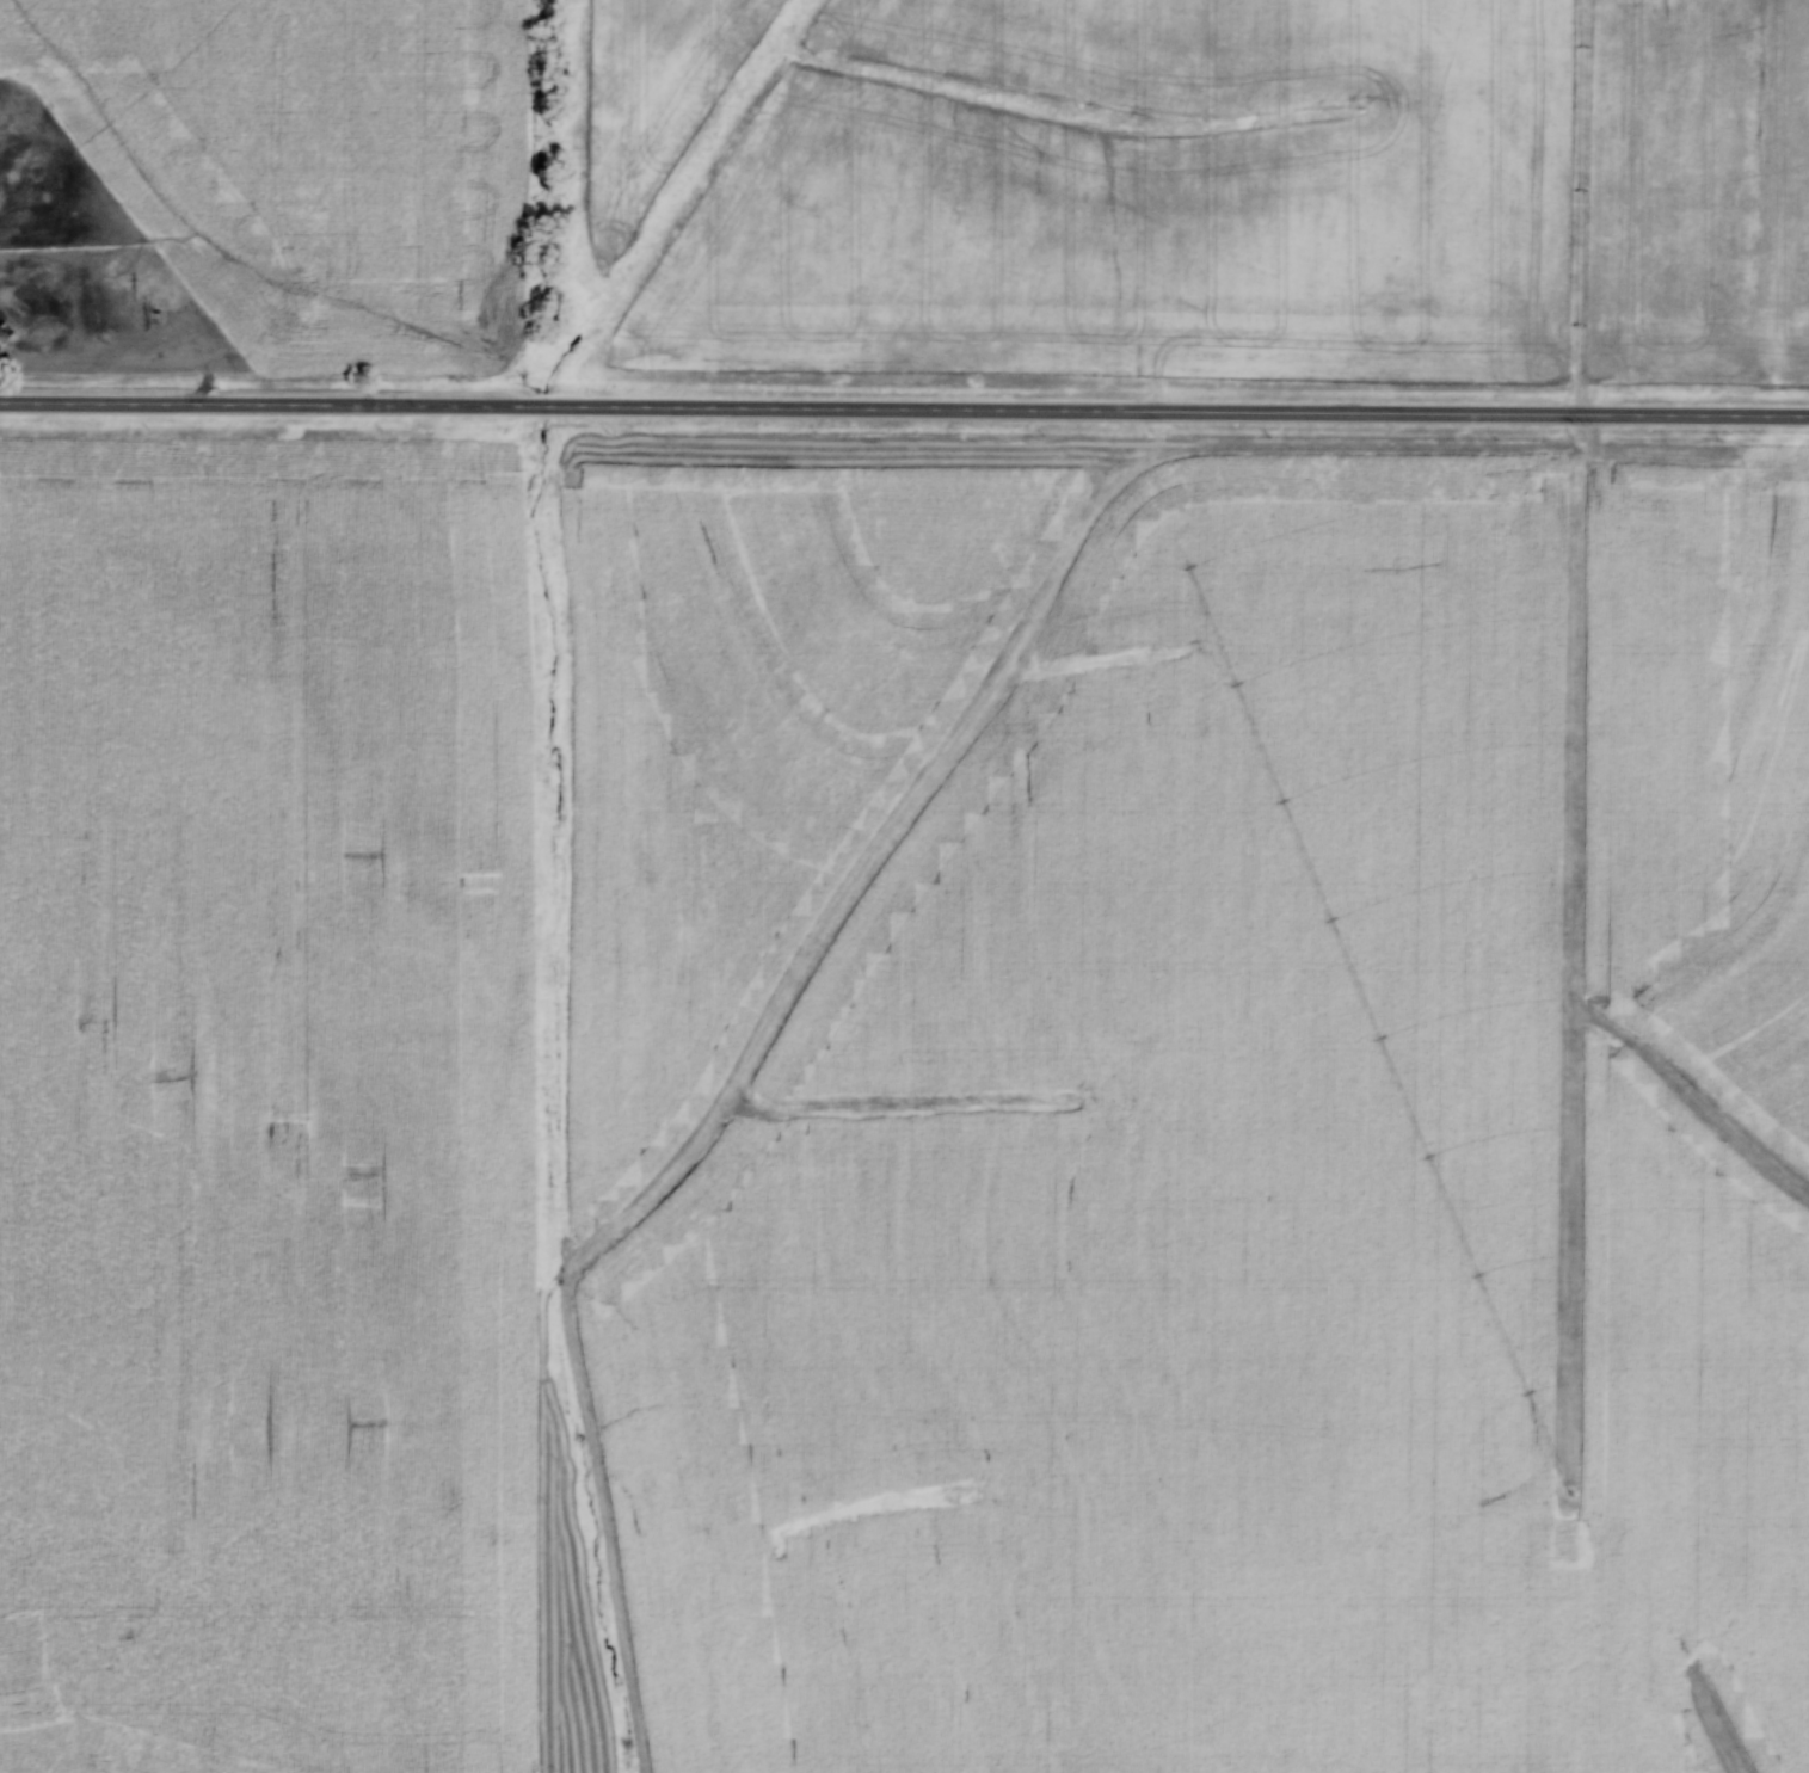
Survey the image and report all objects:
road: (904, 405)

